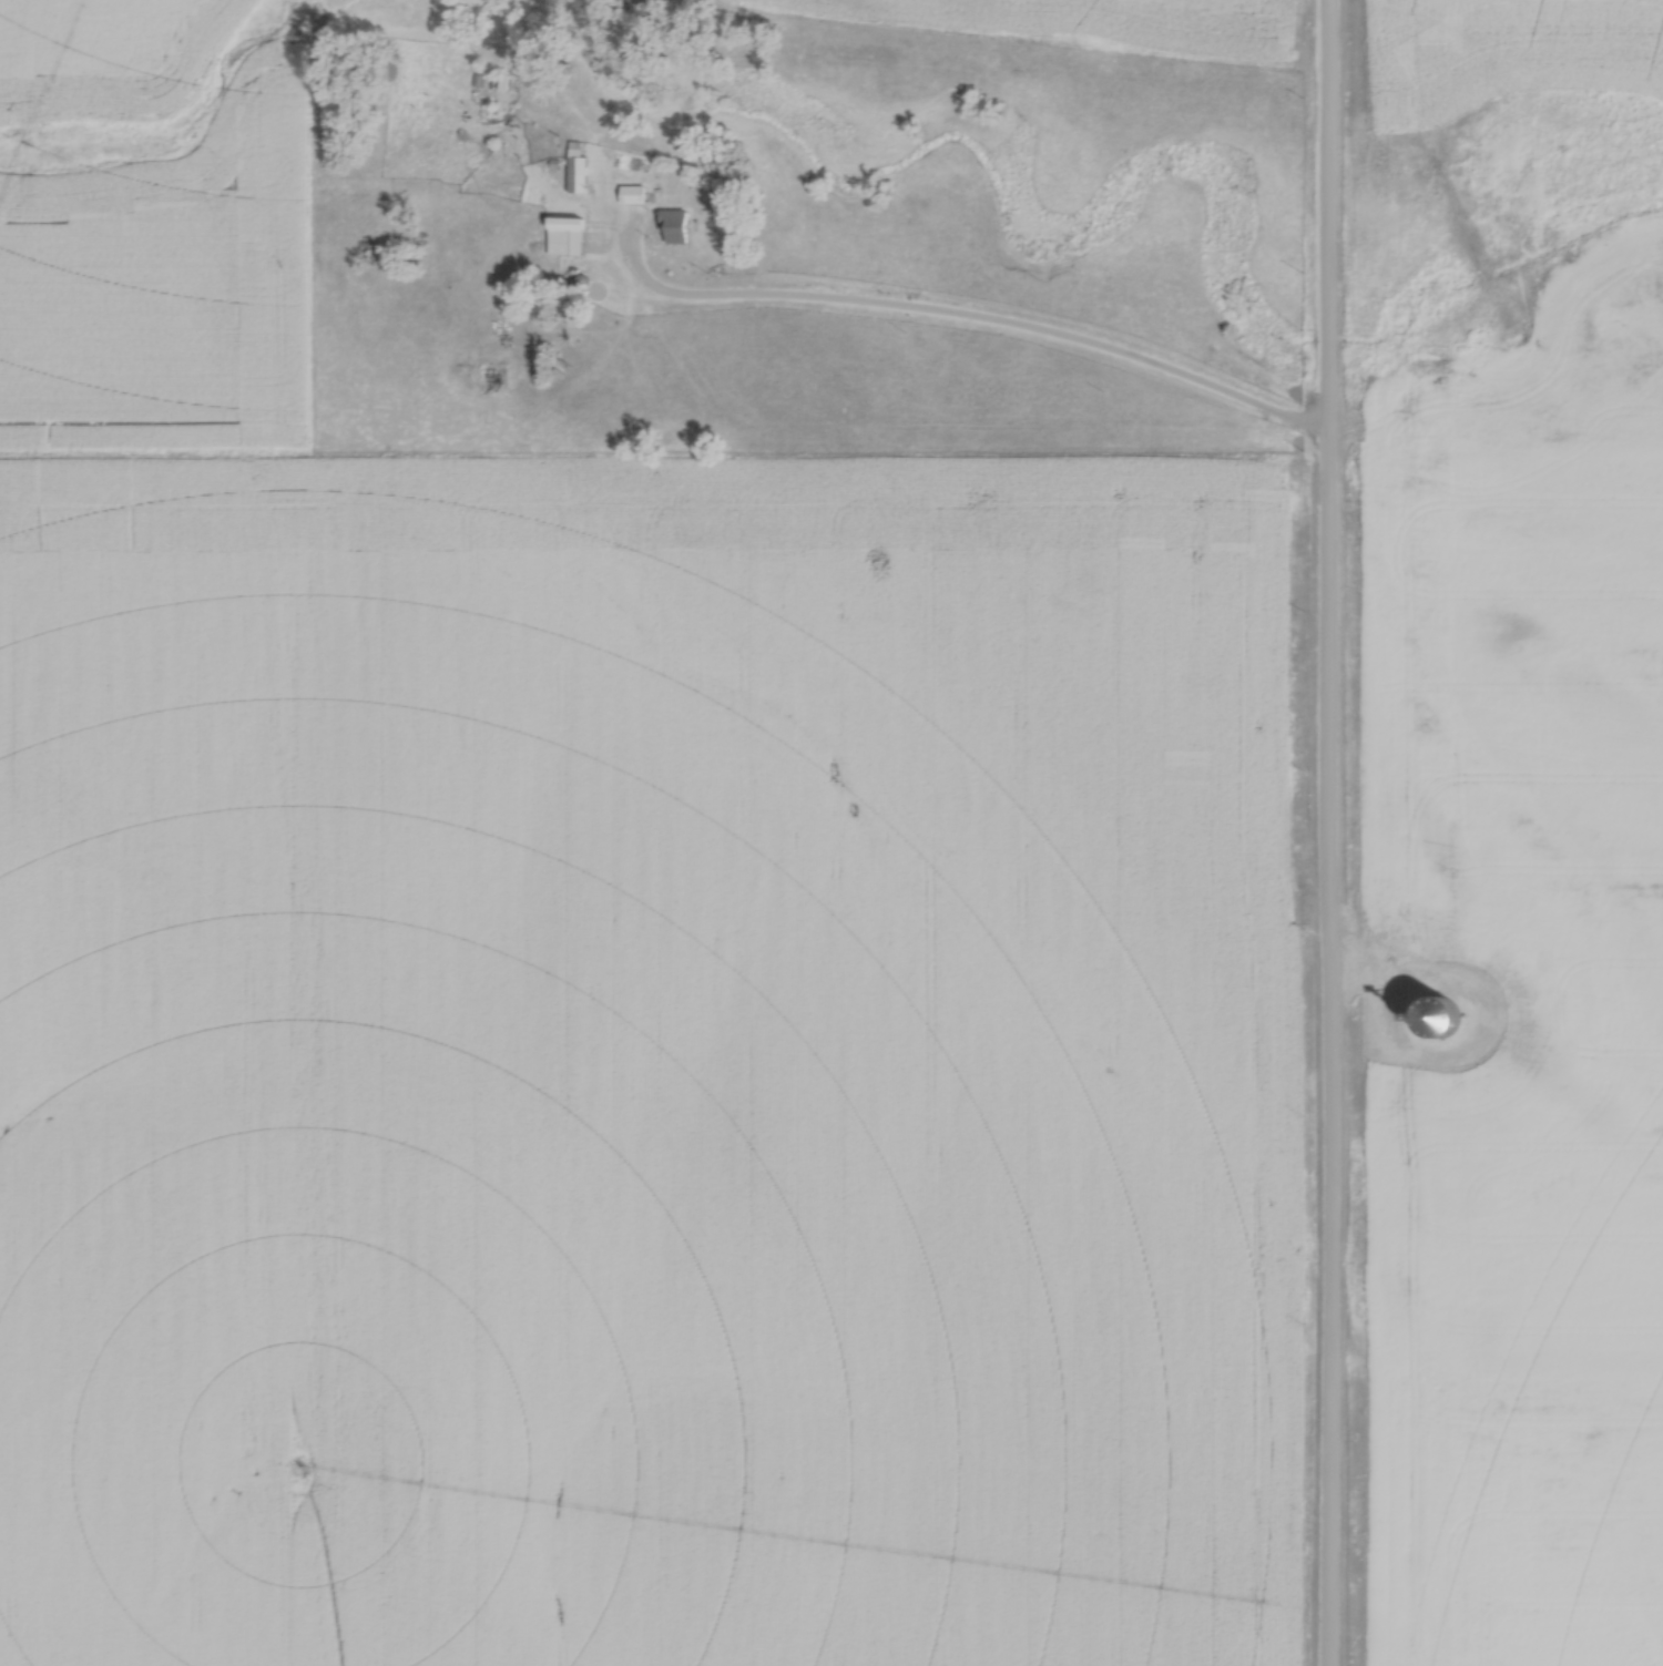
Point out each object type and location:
crop: (1139, 22)
crop: (103, 48)
building: (504, 81)
building: (586, 176)
building: (633, 193)
building: (675, 226)
building: (565, 239)
road: (957, 317)
road: (1330, 832)

